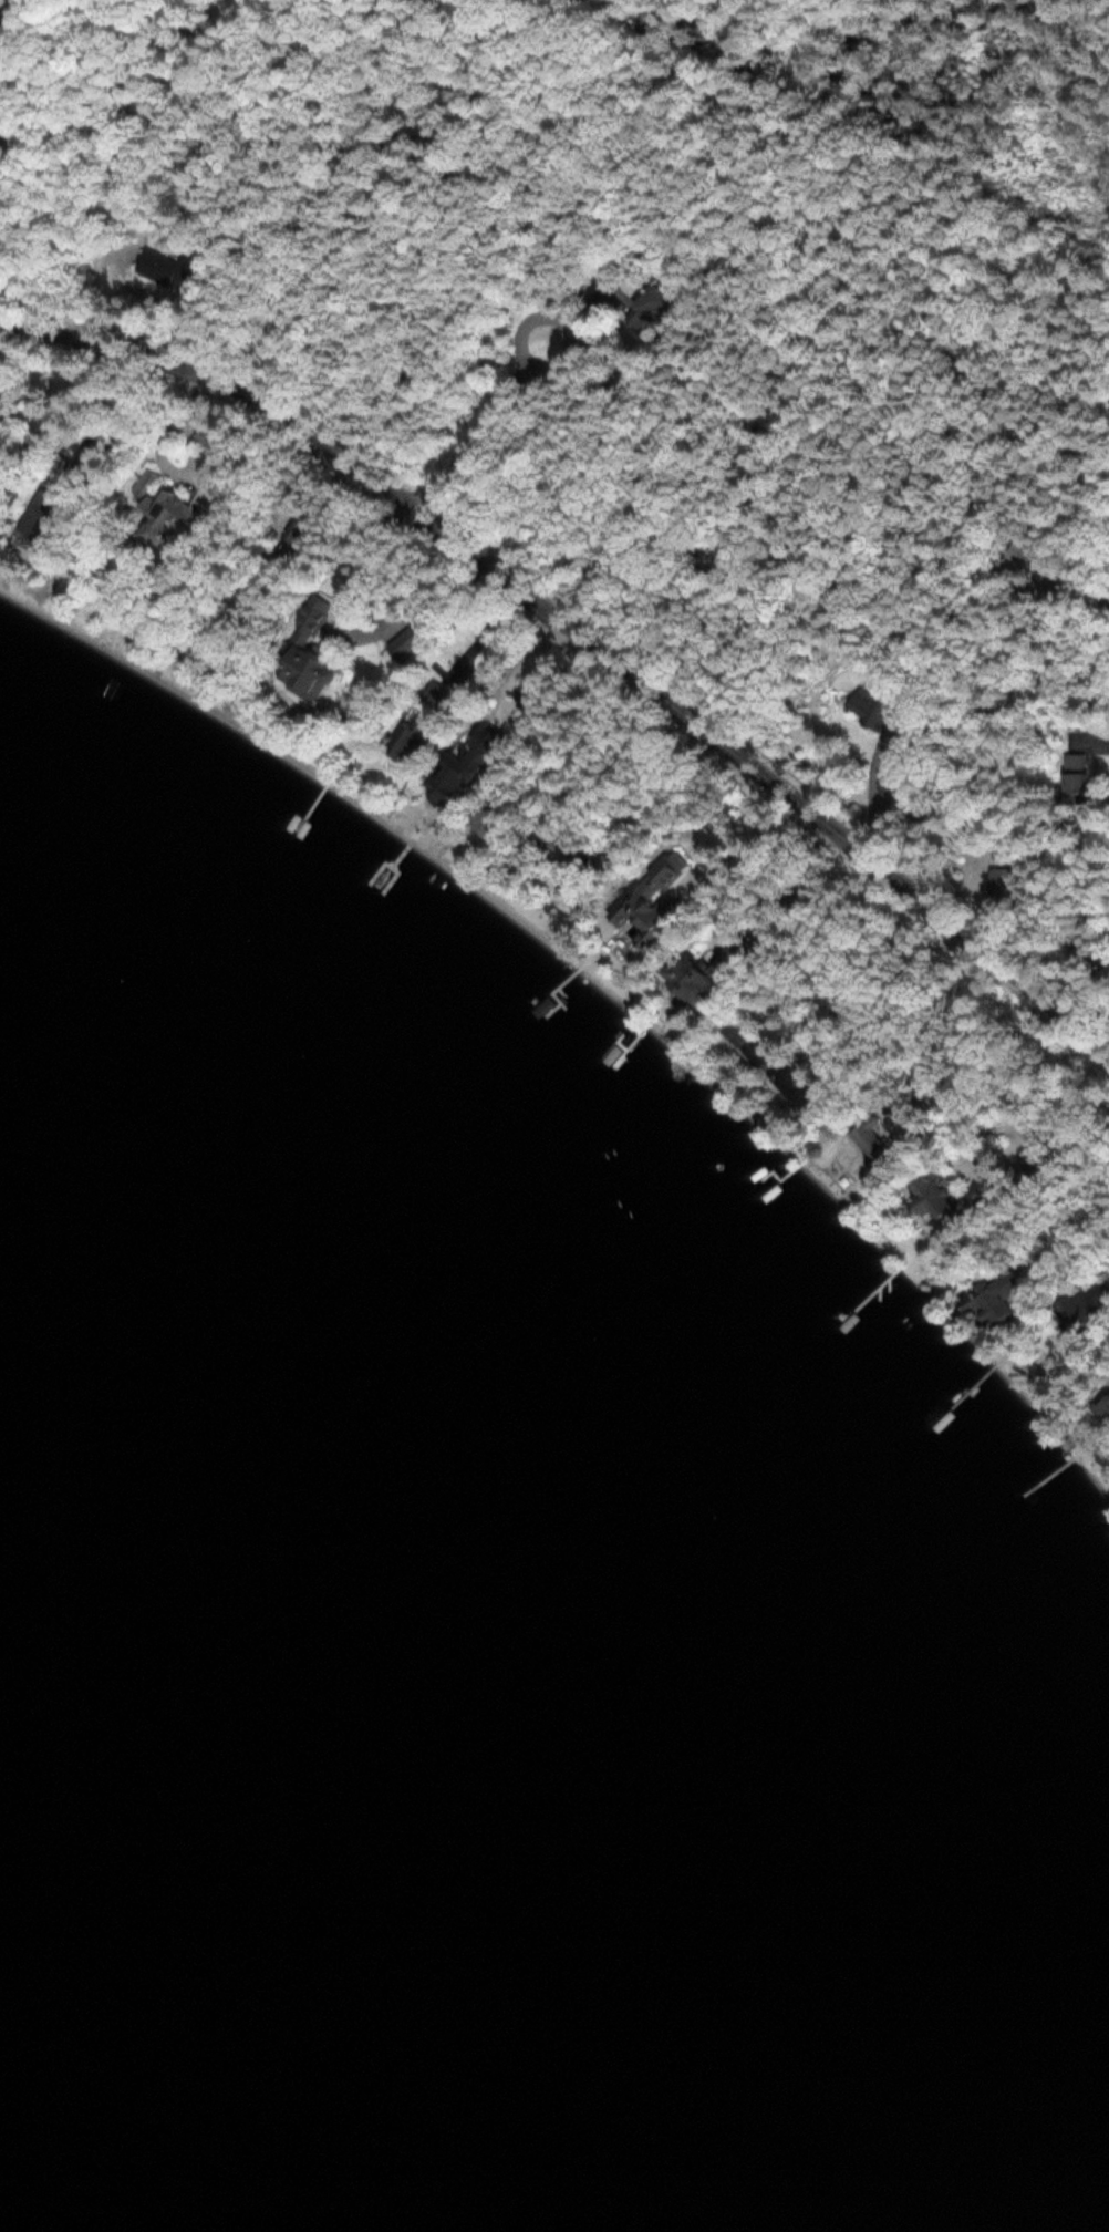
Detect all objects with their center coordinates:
building: (172, 267)
building: (659, 308)
road: (532, 369)
building: (159, 504)
building: (37, 513)
building: (553, 633)
road: (582, 635)
building: (404, 643)
building: (305, 654)
building: (877, 704)
building: (411, 737)
building: (460, 767)
building: (1076, 776)
building: (640, 917)
building: (705, 972)
building: (1032, 1159)
building: (929, 1191)
building: (991, 1295)
building: (1084, 1305)
building: (1102, 1407)

